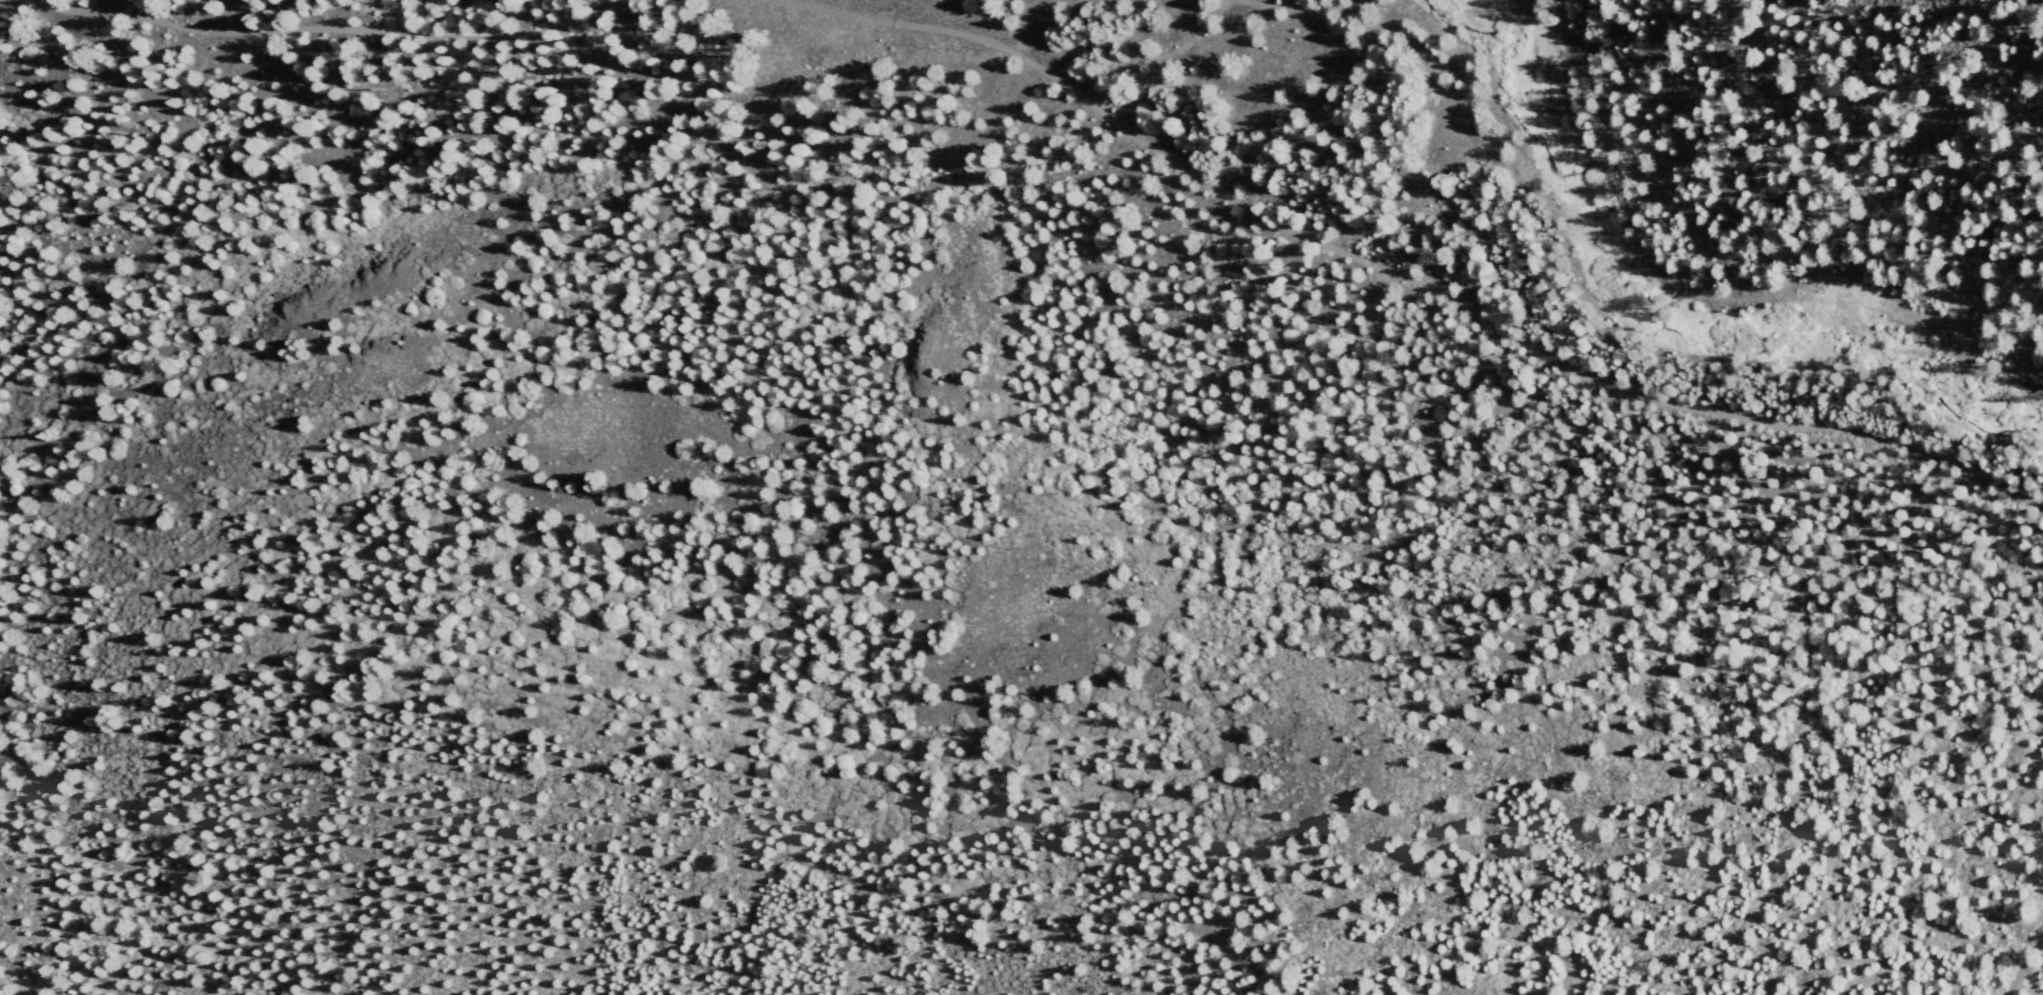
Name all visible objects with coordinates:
road: (325, 28)
road: (1403, 277)
road: (2024, 965)

